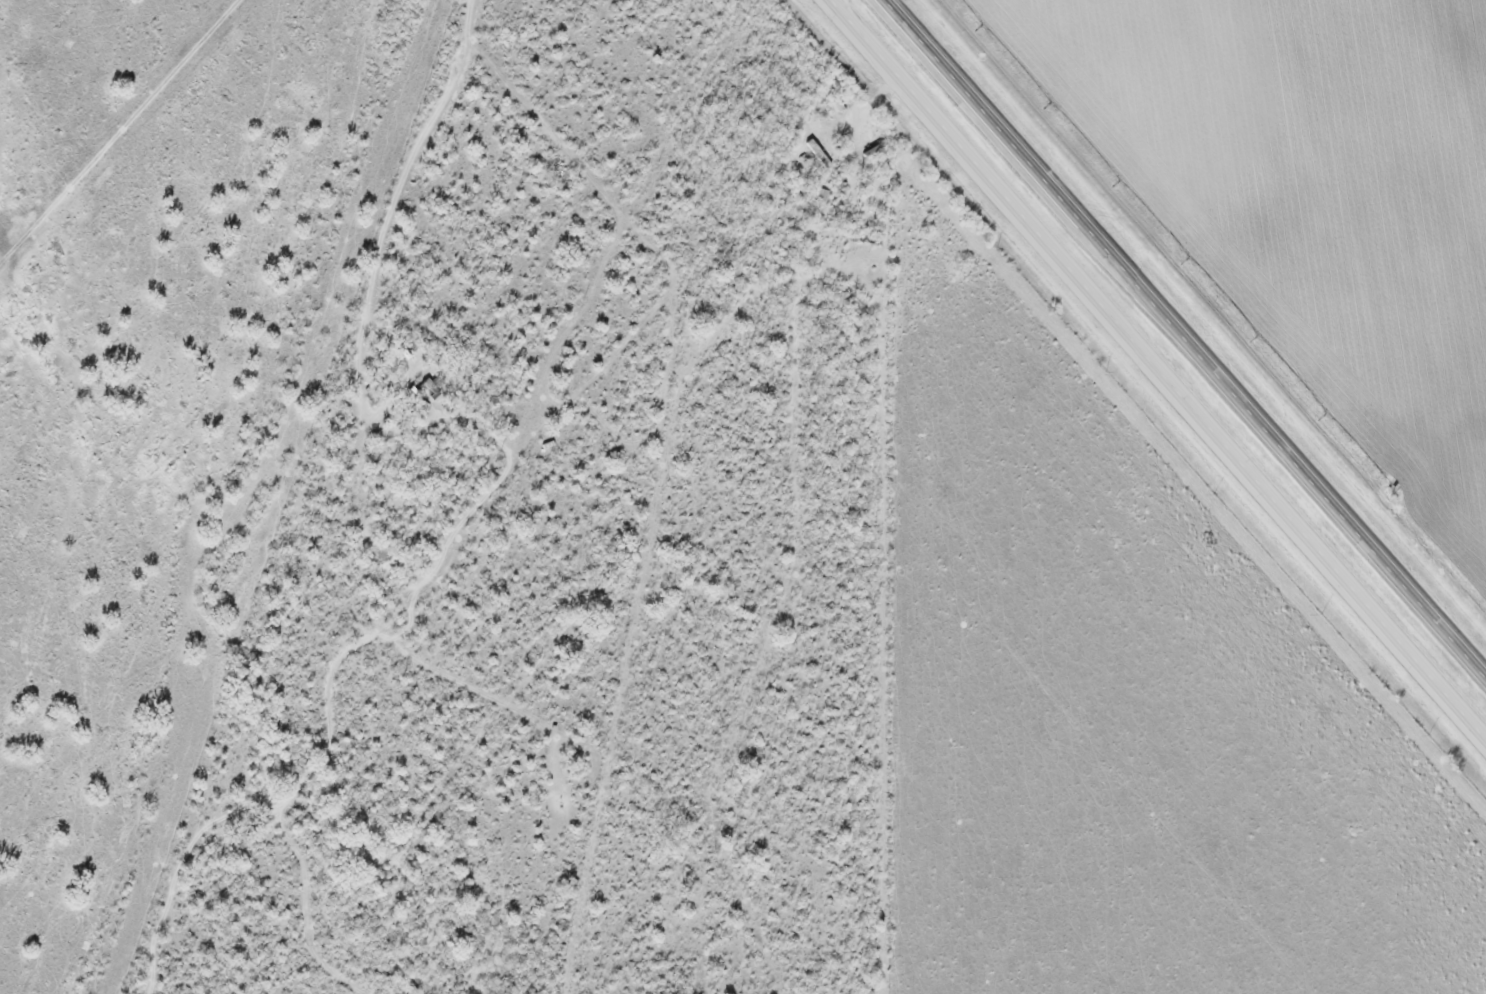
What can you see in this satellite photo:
building: (818, 152)
road: (393, 201)
road: (1189, 335)
road: (1158, 367)
building: (435, 387)

